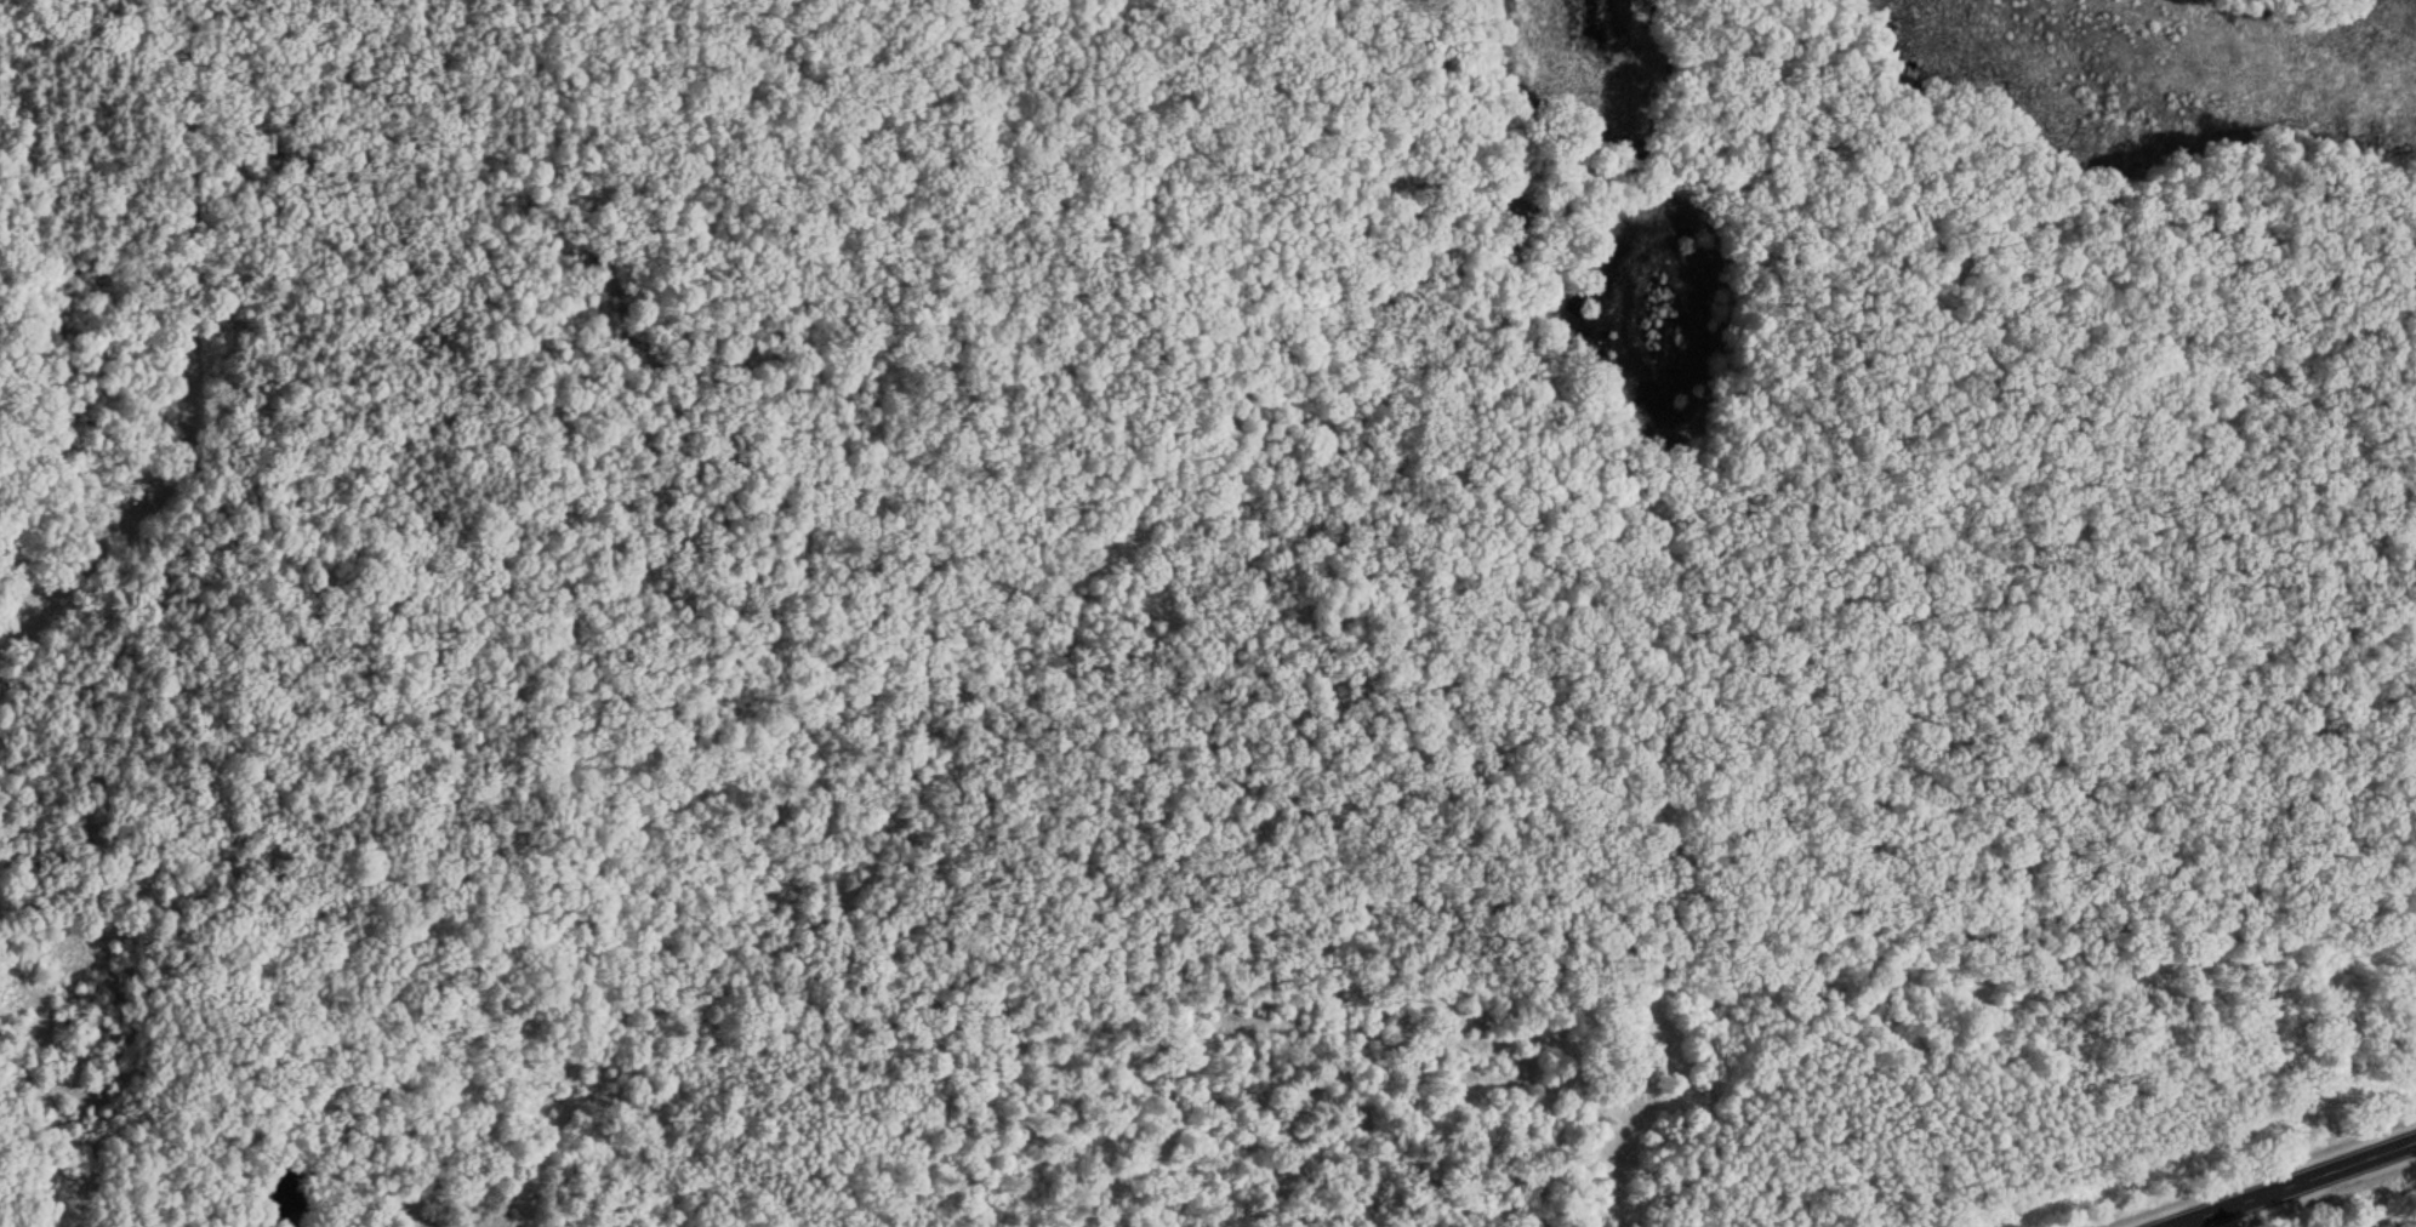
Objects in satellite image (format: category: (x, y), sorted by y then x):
road: (199, 382)
road: (2294, 1183)

